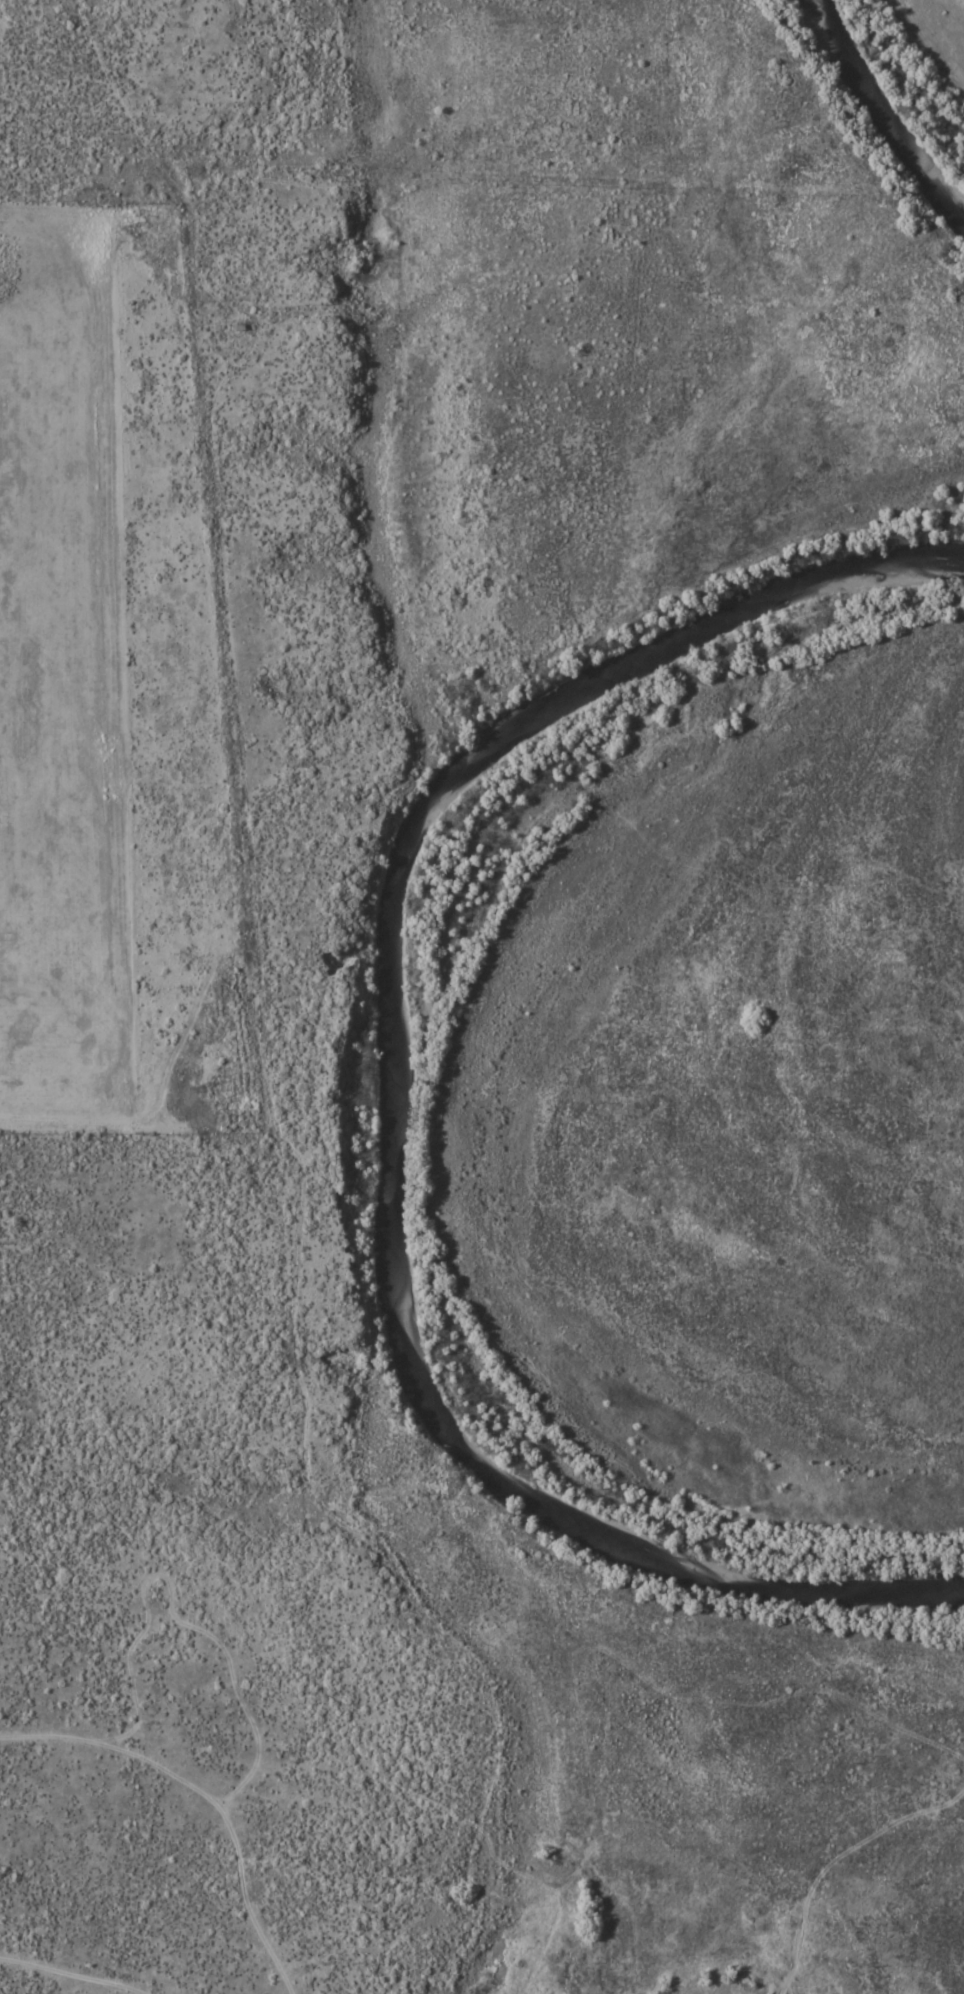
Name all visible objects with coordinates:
river: (881, 114)
river: (388, 1094)

